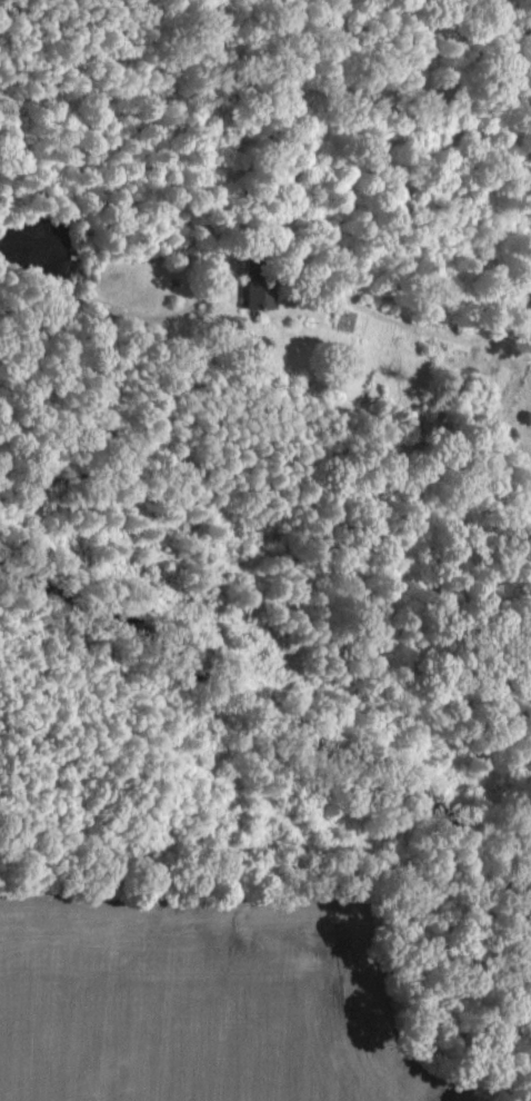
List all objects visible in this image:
building: (254, 294)
building: (530, 300)

